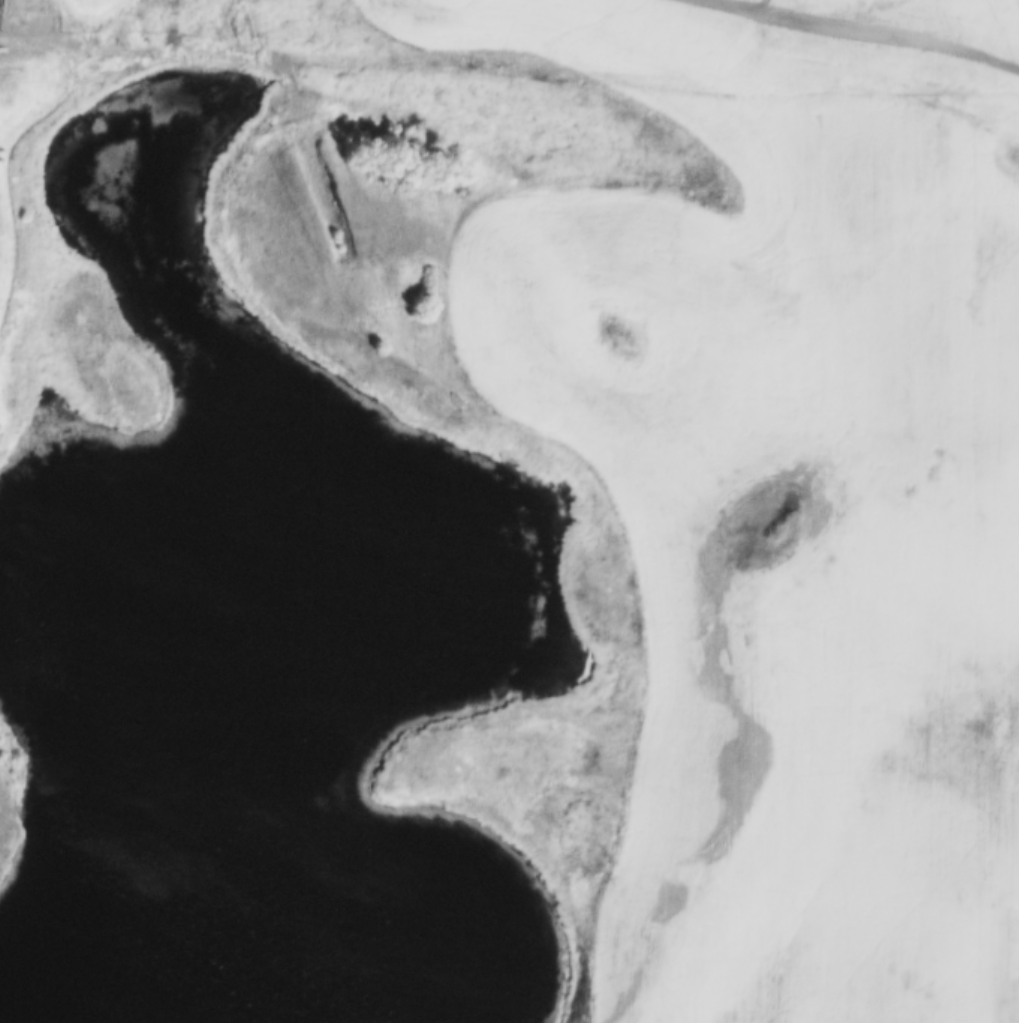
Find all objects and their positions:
road: (509, 63)
building: (452, 398)

